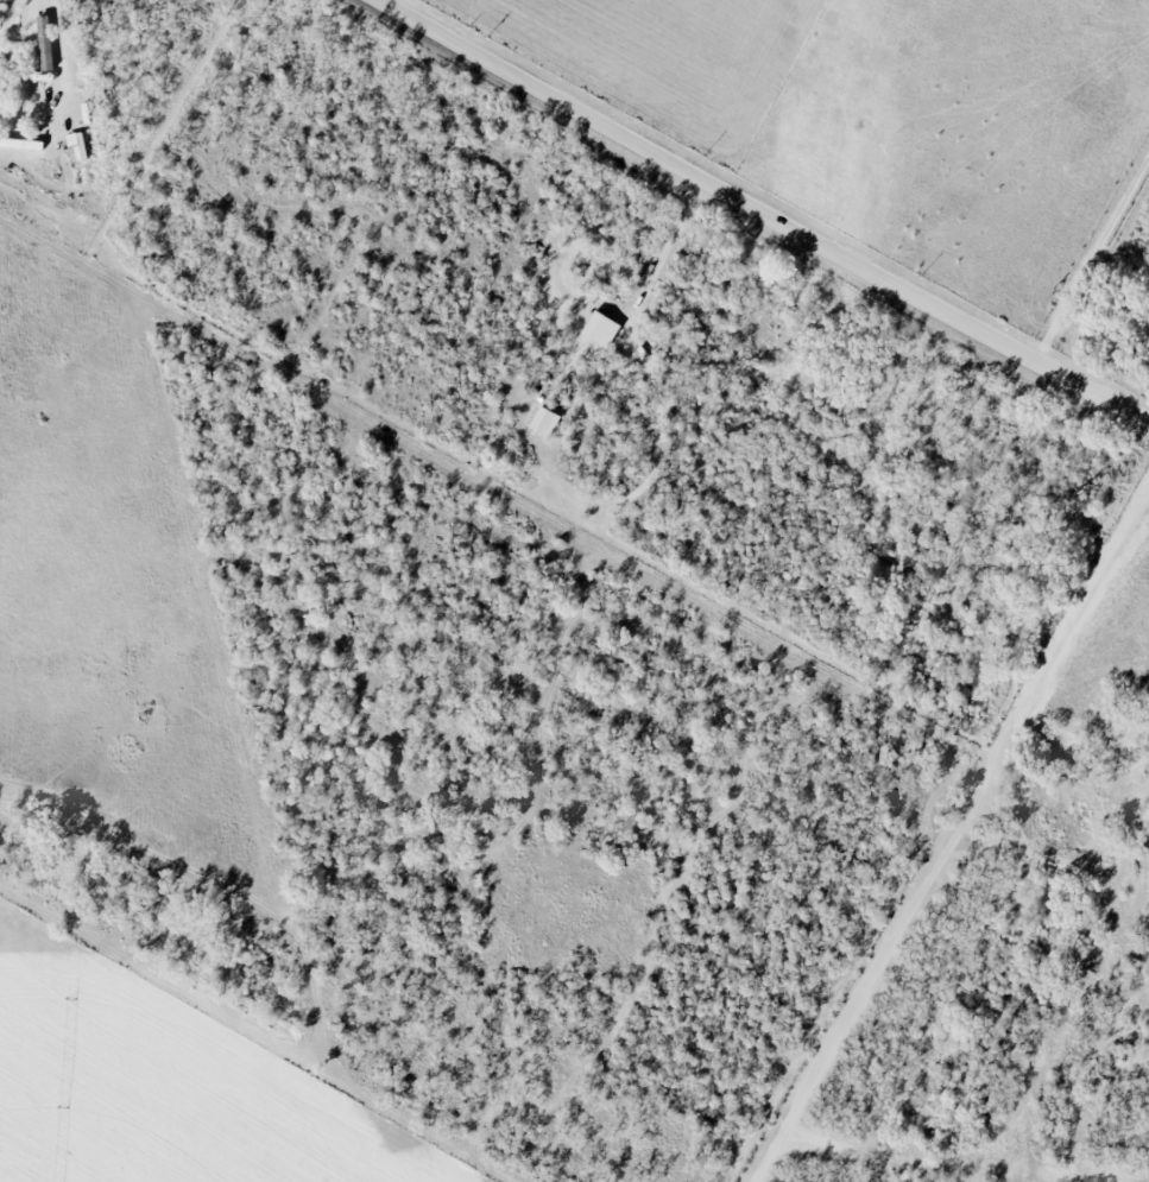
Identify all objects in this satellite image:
road: (56, 7)
road: (764, 210)
building: (600, 328)
building: (544, 422)

